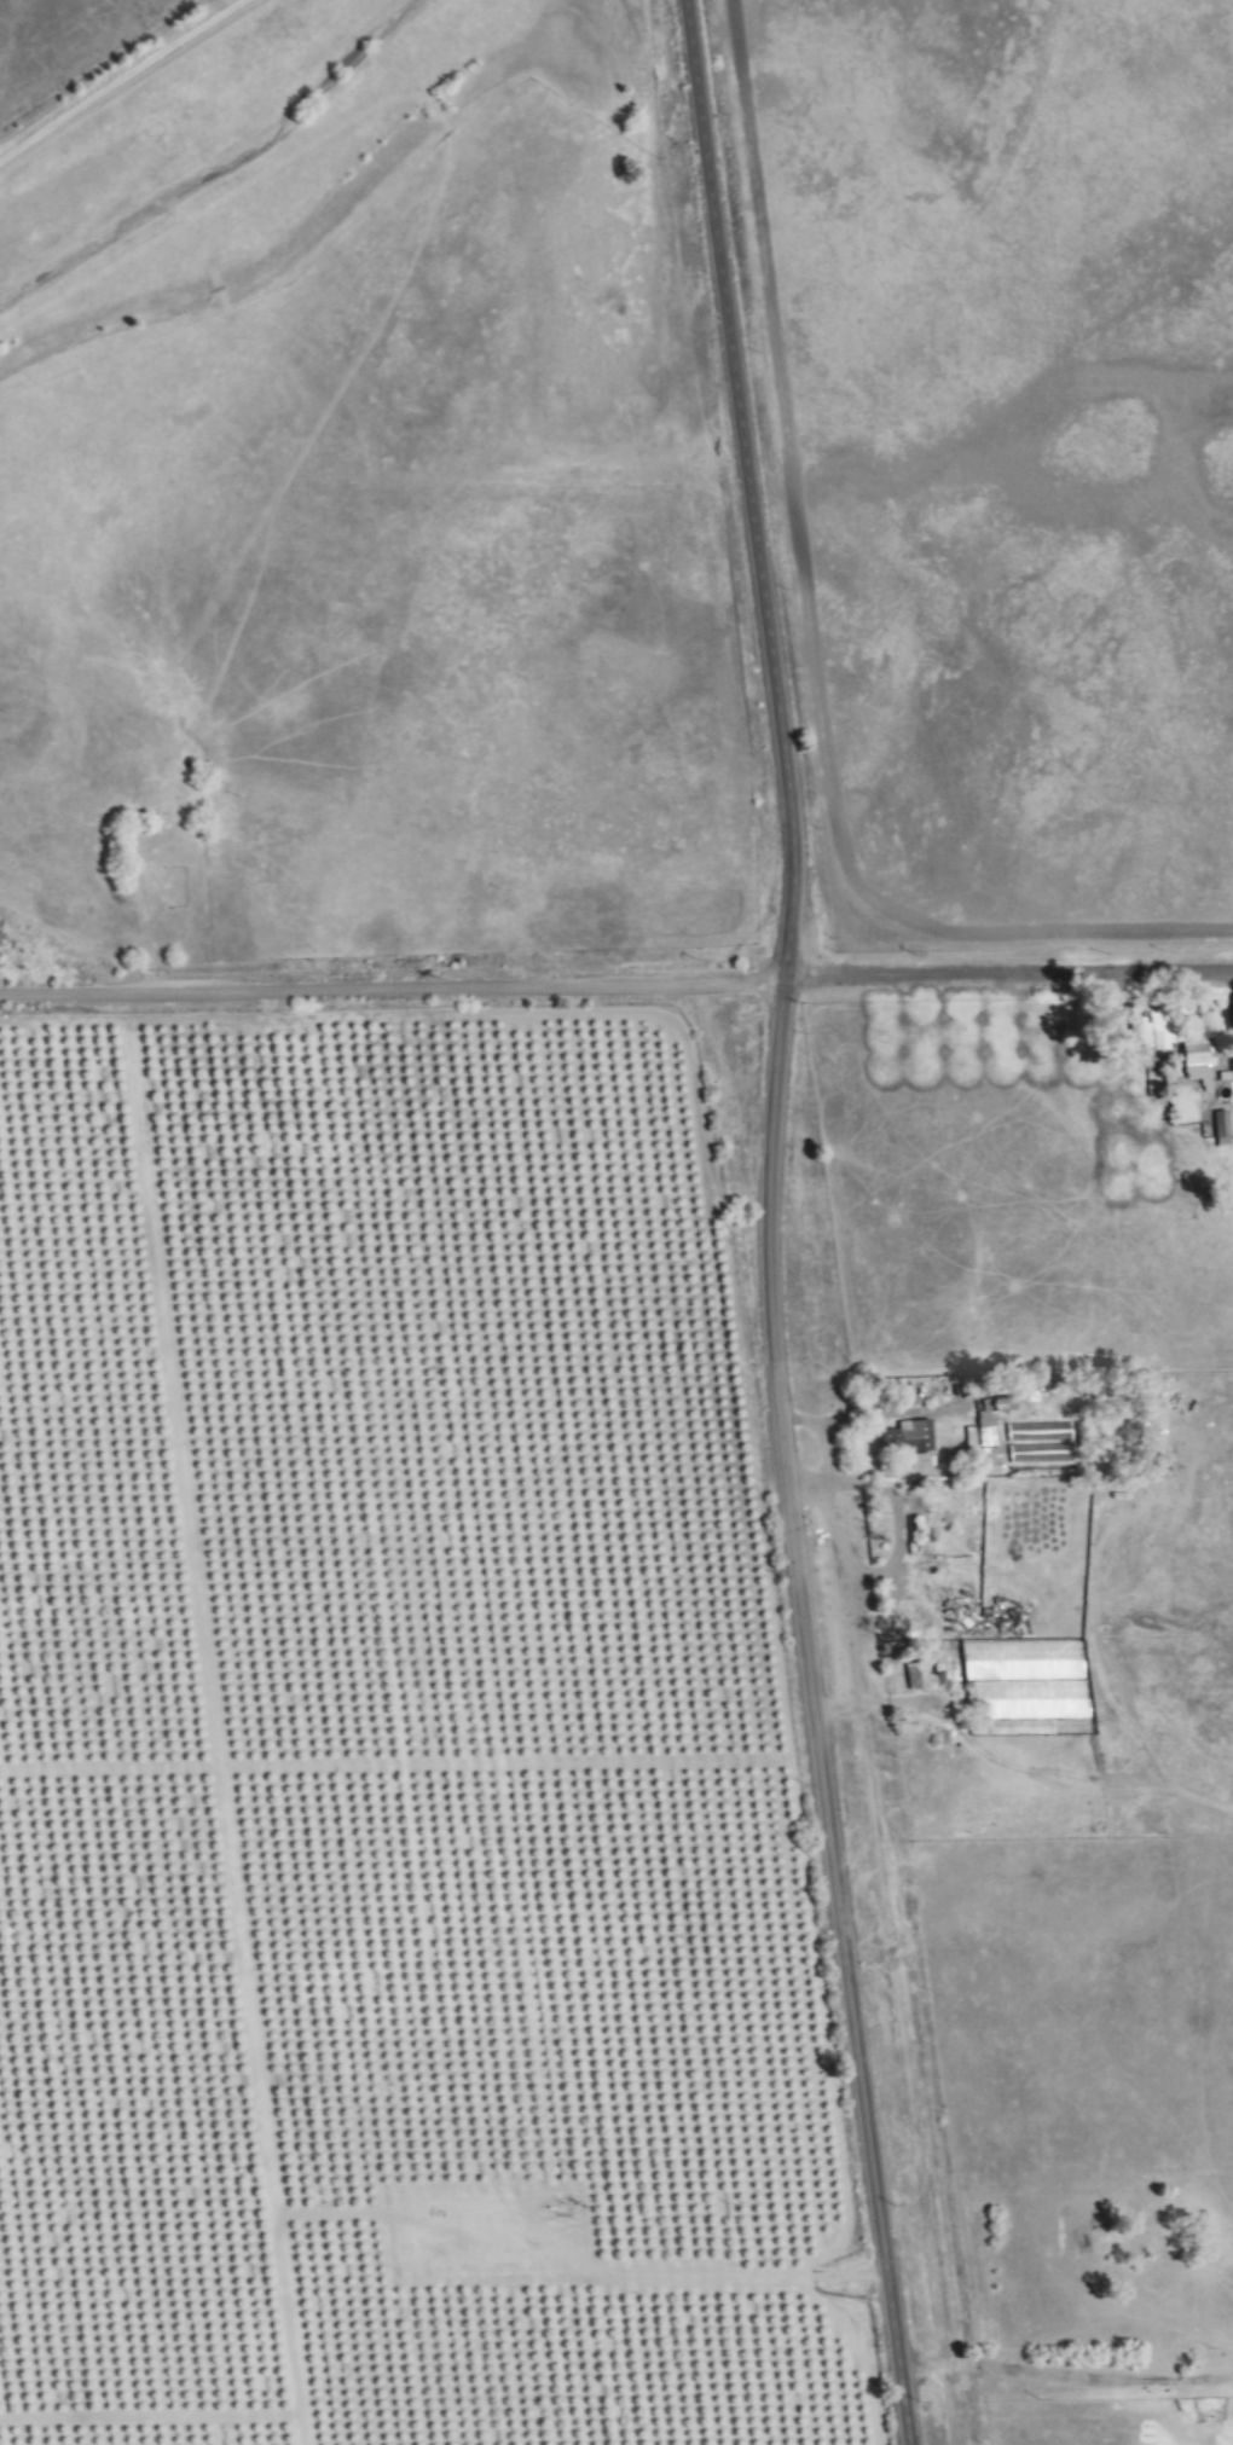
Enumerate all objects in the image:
road: (1007, 972)
road: (392, 990)
road: (768, 1222)
building: (988, 1423)
building: (917, 1436)
building: (990, 1459)

